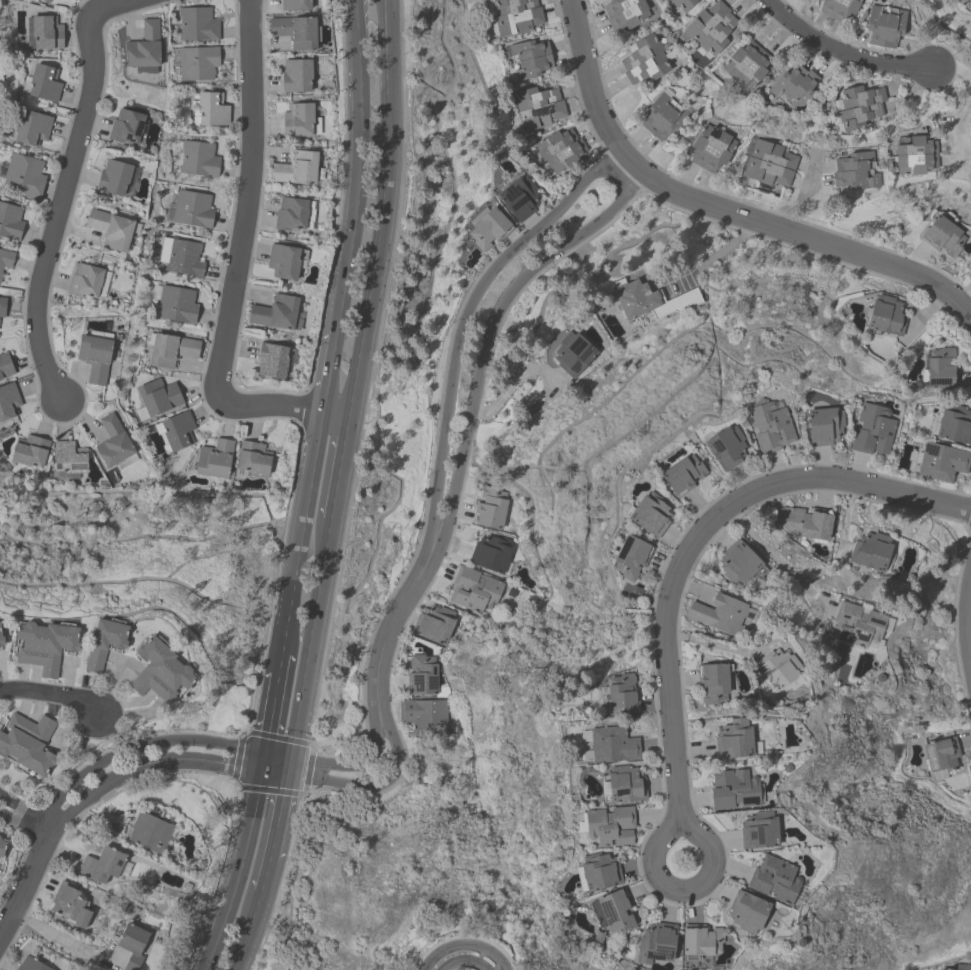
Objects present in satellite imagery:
building: (60, 0)
building: (959, 0)
building: (45, 1)
building: (683, 4)
building: (294, 5)
building: (837, 9)
building: (625, 13)
building: (513, 17)
building: (197, 24)
building: (884, 27)
building: (710, 28)
building: (294, 31)
building: (43, 33)
building: (144, 48)
road: (841, 52)
building: (528, 60)
building: (644, 61)
building: (197, 63)
building: (746, 65)
building: (296, 76)
building: (41, 84)
road: (590, 85)
building: (794, 86)
road: (967, 99)
building: (859, 107)
building: (538, 108)
building: (211, 109)
building: (662, 117)
building: (297, 121)
building: (127, 127)
building: (32, 128)
building: (710, 149)
building: (559, 150)
building: (914, 155)
building: (198, 159)
road: (361, 166)
building: (768, 166)
road: (626, 167)
building: (295, 169)
road: (386, 169)
building: (855, 171)
building: (24, 175)
building: (113, 178)
road: (64, 186)
road: (800, 197)
road: (248, 198)
building: (518, 198)
building: (192, 209)
building: (291, 214)
building: (10, 221)
building: (110, 230)
building: (488, 230)
road: (802, 237)
building: (942, 237)
road: (714, 254)
building: (184, 258)
building: (6, 259)
building: (284, 262)
building: (85, 282)
building: (650, 301)
building: (176, 305)
building: (2, 307)
building: (276, 314)
building: (884, 316)
building: (171, 350)
building: (572, 354)
building: (95, 357)
building: (271, 362)
building: (5, 366)
building: (939, 370)
road: (330, 371)
road: (357, 376)
road: (511, 387)
building: (158, 395)
building: (8, 400)
road: (268, 405)
road: (336, 413)
building: (954, 425)
building: (824, 426)
building: (769, 428)
building: (177, 429)
building: (871, 430)
building: (113, 440)
building: (726, 449)
building: (29, 452)
building: (68, 457)
building: (252, 457)
building: (214, 459)
building: (941, 462)
road: (340, 468)
building: (682, 477)
building: (490, 508)
building: (649, 517)
building: (804, 523)
road: (304, 531)
road: (695, 537)
building: (870, 551)
building: (491, 553)
road: (424, 559)
building: (630, 559)
road: (776, 559)
building: (739, 563)
building: (474, 588)
building: (718, 613)
road: (969, 618)
building: (433, 624)
building: (856, 626)
road: (388, 631)
building: (1, 637)
building: (104, 639)
road: (311, 639)
building: (45, 642)
road: (706, 643)
road: (281, 661)
building: (160, 668)
building: (777, 671)
building: (421, 675)
building: (713, 683)
building: (620, 693)
road: (49, 694)
road: (272, 711)
building: (423, 717)
building: (733, 741)
building: (28, 742)
building: (612, 743)
road: (137, 747)
traffic signals: (264, 752)
building: (942, 753)
road: (277, 754)
traffic signals: (290, 757)
road: (262, 761)
road: (288, 765)
road: (144, 766)
road: (365, 766)
traffic signals: (260, 770)
road: (273, 772)
traffic signals: (287, 774)
building: (623, 783)
road: (374, 786)
building: (734, 790)
road: (23, 817)
road: (278, 817)
building: (610, 824)
building: (759, 829)
building: (149, 831)
building: (0, 837)
building: (2, 847)
building: (102, 864)
road: (240, 871)
building: (598, 871)
road: (266, 876)
building: (775, 878)
road: (24, 884)
road: (686, 886)
building: (71, 905)
building: (612, 909)
building: (747, 910)
road: (250, 931)
road: (62, 940)
building: (699, 940)
road: (463, 942)
building: (132, 943)
building: (656, 943)
road: (462, 958)
building: (30, 964)
building: (962, 967)
building: (943, 969)

